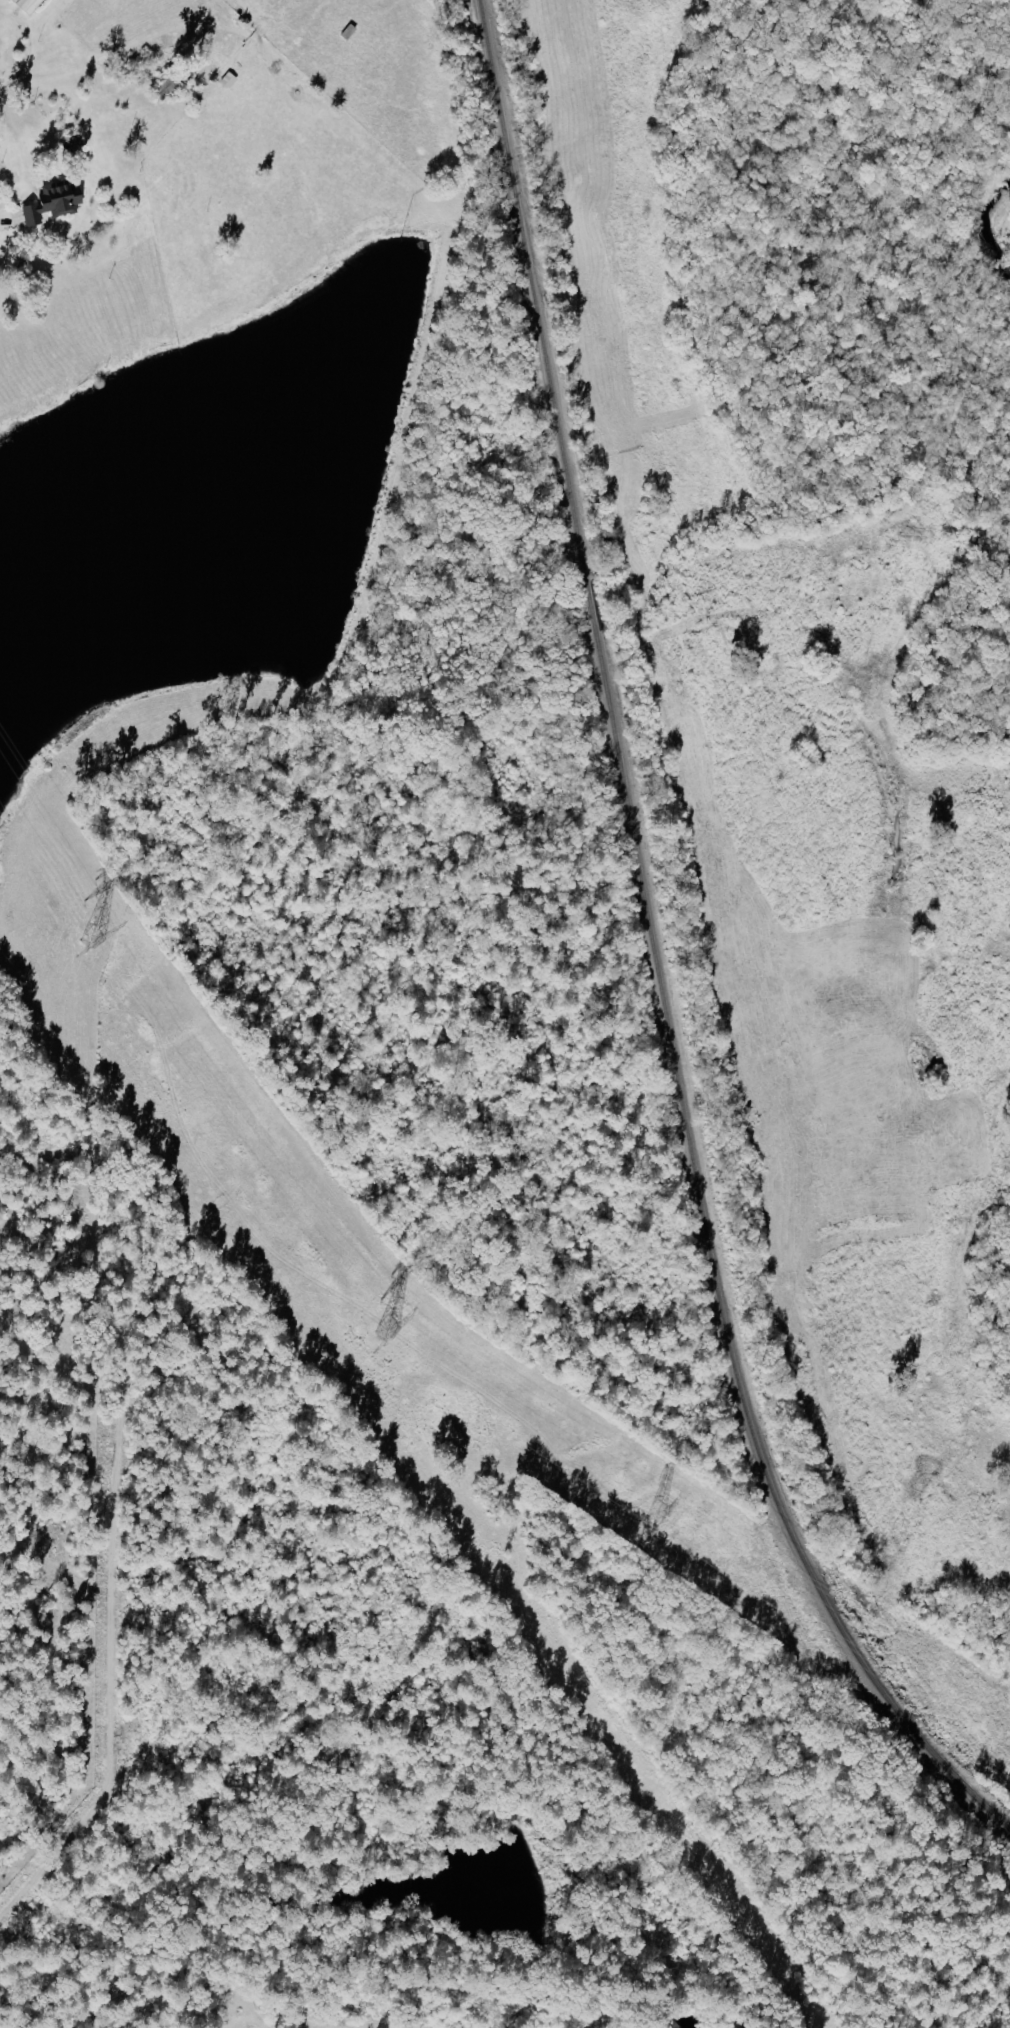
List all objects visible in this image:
road: (30, 94)
building: (51, 202)
river: (1009, 216)
railway: (529, 290)
railway: (589, 607)
power tower: (91, 939)
railway: (710, 1273)
power tower: (382, 1328)
power tower: (656, 1511)
road: (147, 1950)

